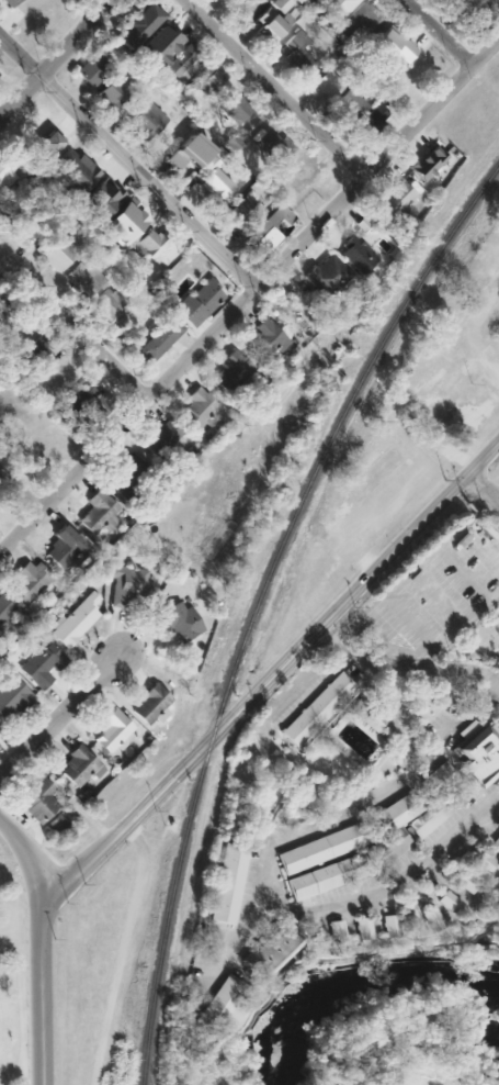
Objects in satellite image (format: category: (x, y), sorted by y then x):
building: (242, 4)
building: (281, 4)
building: (338, 5)
building: (477, 13)
building: (360, 15)
building: (137, 24)
building: (271, 25)
road: (440, 32)
building: (159, 44)
building: (392, 46)
building: (295, 52)
building: (181, 58)
road: (57, 60)
building: (91, 69)
building: (211, 82)
building: (327, 83)
road: (275, 87)
building: (112, 90)
building: (349, 103)
building: (235, 108)
building: (370, 115)
building: (145, 116)
building: (47, 142)
building: (231, 142)
building: (273, 147)
building: (189, 152)
road: (128, 161)
building: (427, 163)
building: (4, 171)
building: (71, 171)
building: (302, 175)
building: (215, 182)
building: (99, 199)
building: (390, 203)
building: (240, 213)
building: (16, 220)
building: (123, 221)
building: (266, 231)
building: (145, 242)
building: (56, 249)
building: (358, 255)
building: (327, 276)
building: (83, 277)
road: (248, 295)
building: (197, 302)
building: (1, 304)
building: (109, 304)
building: (0, 316)
road: (73, 327)
building: (159, 339)
building: (264, 339)
building: (34, 353)
building: (235, 363)
building: (93, 400)
building: (199, 409)
building: (161, 437)
building: (125, 477)
road: (21, 491)
road: (480, 494)
building: (98, 513)
building: (63, 547)
road: (399, 548)
road: (415, 566)
building: (26, 583)
building: (125, 584)
railway: (256, 601)
building: (5, 608)
parking lot: (452, 611)
building: (75, 620)
building: (178, 622)
road: (329, 639)
road: (426, 649)
building: (41, 664)
road: (376, 665)
building: (12, 697)
building: (150, 704)
building: (316, 708)
building: (372, 719)
road: (56, 720)
building: (113, 730)
road: (208, 734)
road: (216, 741)
building: (478, 754)
building: (79, 767)
building: (436, 778)
building: (38, 801)
theme park: (359, 804)
building: (438, 808)
road: (329, 819)
building: (54, 824)
building: (495, 839)
building: (386, 847)
building: (318, 848)
road: (25, 858)
building: (479, 861)
road: (82, 863)
building: (324, 876)
building: (460, 881)
building: (226, 882)
road: (392, 884)
building: (447, 902)
building: (431, 919)
building: (387, 925)
building: (361, 928)
building: (334, 930)
building: (270, 949)
park: (11, 977)
river: (381, 981)
road: (38, 994)
building: (213, 998)
park: (398, 1076)

